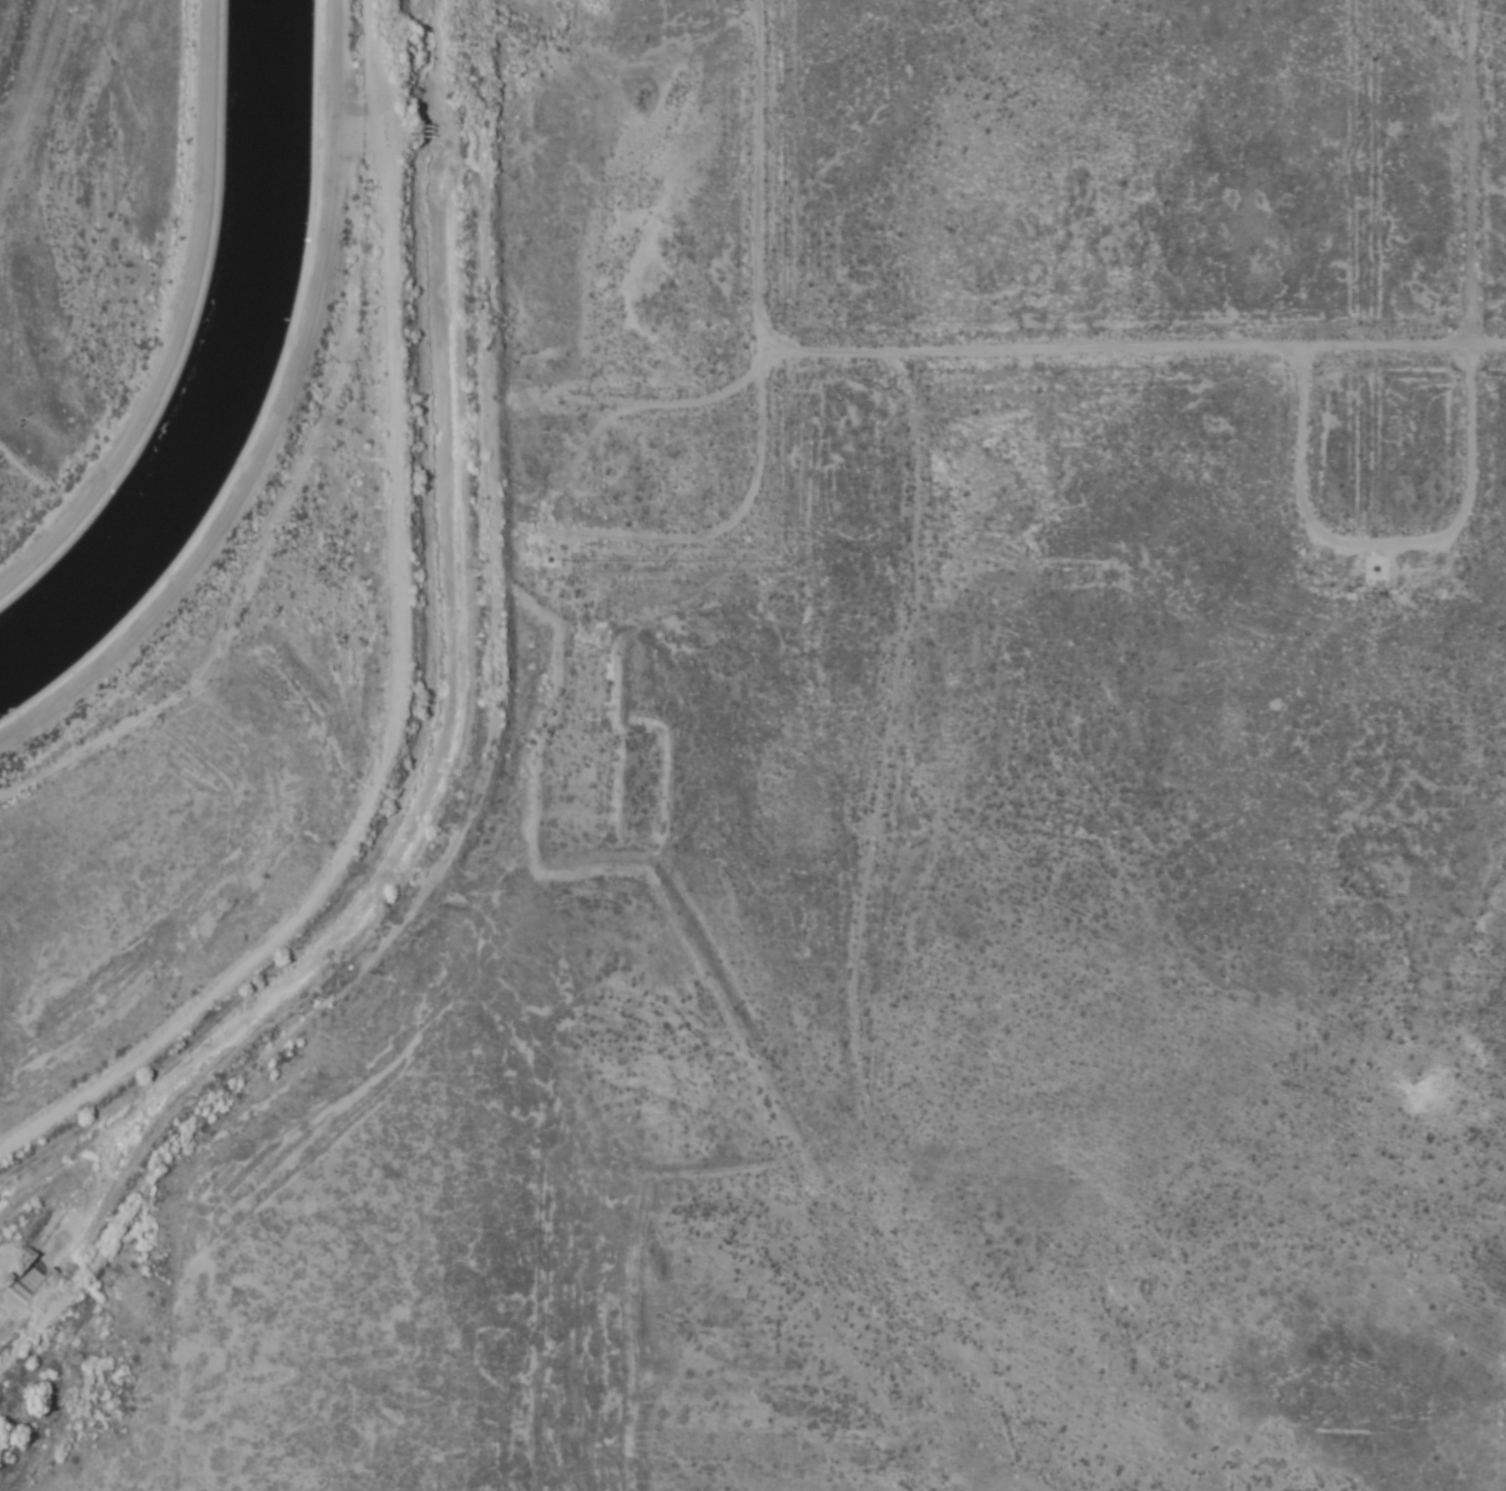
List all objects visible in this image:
road: (1442, 113)
road: (755, 185)
road: (178, 321)
road: (1131, 353)
road: (273, 419)
road: (1479, 509)
road: (616, 563)

